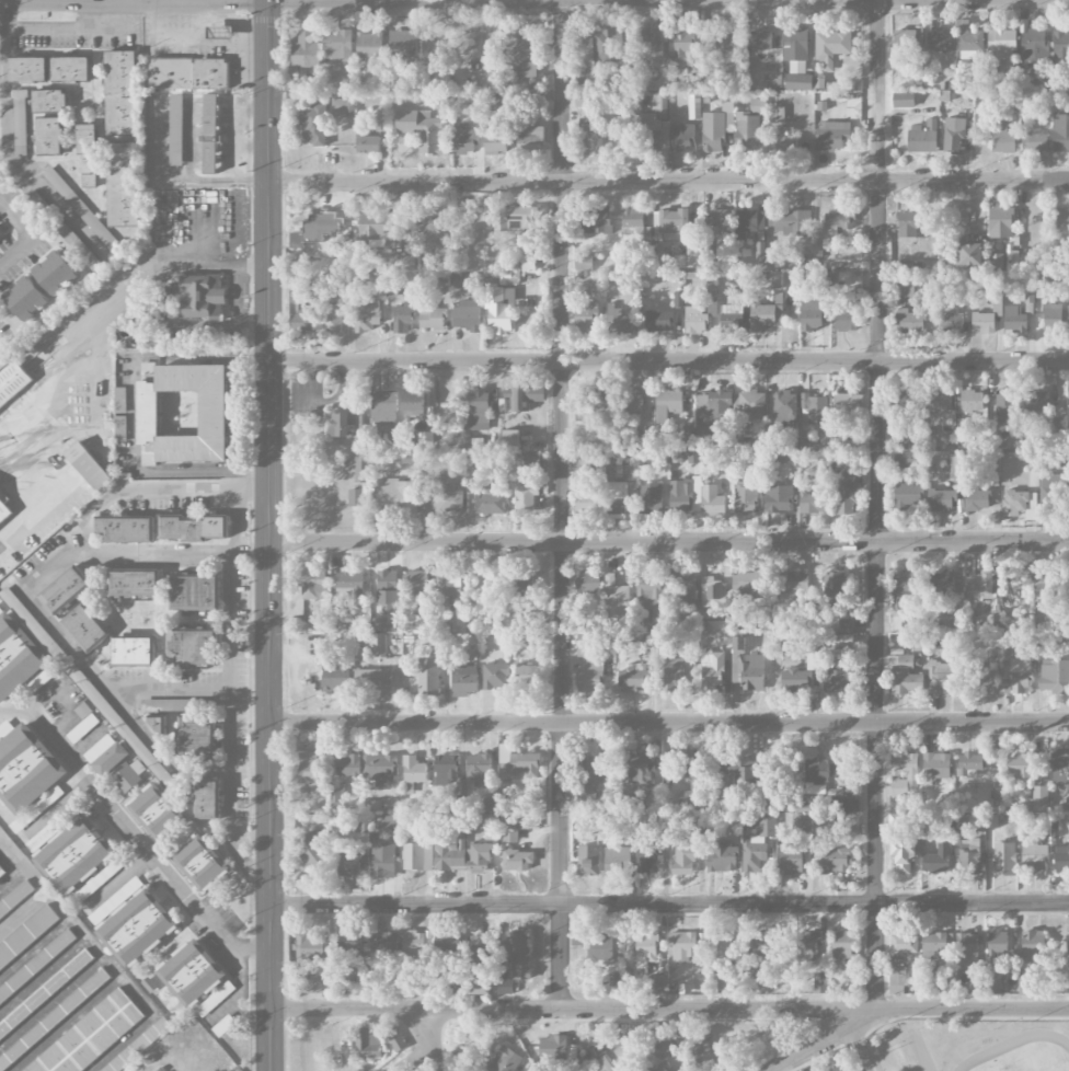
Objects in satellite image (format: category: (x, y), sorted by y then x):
road: (91, 1)
road: (533, 1)
road: (59, 27)
building: (220, 32)
building: (919, 36)
building: (905, 39)
road: (198, 41)
building: (760, 41)
building: (939, 41)
building: (795, 43)
building: (403, 44)
building: (725, 44)
building: (337, 45)
building: (651, 45)
building: (682, 45)
building: (969, 45)
building: (1034, 45)
building: (369, 46)
building: (606, 46)
building: (1001, 46)
building: (830, 47)
building: (1060, 47)
building: (306, 51)
building: (527, 60)
building: (899, 65)
building: (70, 70)
building: (27, 71)
building: (191, 73)
building: (584, 78)
building: (1011, 79)
building: (485, 81)
building: (772, 82)
building: (1041, 84)
building: (120, 93)
building: (584, 100)
building: (903, 100)
building: (49, 101)
building: (343, 104)
building: (693, 107)
building: (771, 114)
building: (20, 123)
building: (655, 125)
building: (313, 126)
building: (175, 128)
building: (422, 130)
building: (747, 131)
building: (713, 133)
building: (832, 133)
building: (209, 134)
building: (1060, 134)
building: (587, 135)
building: (954, 136)
road: (228, 137)
building: (923, 137)
building: (49, 138)
building: (681, 138)
building: (463, 139)
building: (1002, 139)
building: (87, 140)
building: (494, 140)
building: (530, 140)
building: (784, 141)
building: (1034, 141)
road: (248, 143)
building: (367, 143)
road: (8, 146)
building: (89, 181)
road: (668, 182)
building: (123, 184)
building: (79, 207)
building: (1061, 218)
building: (516, 219)
building: (721, 220)
building: (597, 222)
building: (748, 222)
building: (790, 222)
building: (1000, 222)
building: (376, 227)
building: (633, 227)
building: (836, 227)
building: (908, 227)
building: (315, 229)
road: (25, 231)
building: (969, 255)
building: (693, 257)
building: (403, 263)
building: (583, 263)
building: (54, 274)
building: (1045, 277)
building: (442, 285)
building: (709, 286)
building: (1068, 287)
building: (904, 288)
road: (231, 292)
building: (199, 296)
building: (25, 299)
building: (678, 300)
building: (712, 307)
building: (497, 310)
building: (301, 313)
building: (767, 314)
building: (811, 314)
building: (366, 315)
building: (1050, 315)
building: (430, 316)
building: (467, 316)
building: (333, 318)
building: (586, 318)
building: (846, 318)
building: (403, 319)
building: (731, 319)
building: (1014, 320)
building: (1068, 320)
building: (618, 321)
building: (696, 321)
building: (910, 321)
building: (658, 322)
building: (951, 323)
building: (982, 323)
road: (99, 338)
building: (152, 338)
road: (667, 360)
building: (13, 383)
building: (524, 398)
building: (119, 400)
building: (631, 400)
building: (1036, 401)
building: (595, 402)
building: (972, 402)
building: (752, 403)
building: (939, 403)
building: (668, 404)
building: (905, 404)
building: (1068, 404)
building: (414, 405)
building: (784, 407)
building: (815, 410)
building: (1005, 410)
building: (383, 411)
building: (479, 411)
building: (711, 412)
building: (182, 413)
road: (133, 414)
road: (235, 414)
building: (344, 424)
building: (1057, 425)
building: (119, 429)
building: (510, 438)
building: (642, 439)
building: (399, 440)
building: (912, 441)
building: (905, 460)
building: (1035, 460)
building: (993, 461)
building: (590, 462)
building: (531, 464)
building: (89, 468)
building: (358, 468)
building: (956, 469)
building: (624, 472)
building: (1051, 491)
building: (846, 494)
building: (907, 495)
building: (396, 496)
building: (685, 496)
road: (41, 497)
building: (355, 498)
building: (525, 498)
building: (618, 498)
building: (745, 498)
building: (491, 499)
building: (650, 499)
building: (779, 499)
building: (585, 500)
building: (712, 500)
building: (942, 500)
building: (977, 500)
building: (445, 502)
road: (561, 505)
road: (877, 505)
building: (1020, 505)
building: (3, 513)
building: (126, 528)
building: (194, 529)
road: (267, 535)
road: (667, 542)
road: (146, 557)
building: (587, 583)
building: (1048, 583)
building: (135, 584)
building: (417, 584)
building: (521, 584)
building: (795, 585)
building: (941, 585)
building: (313, 586)
building: (349, 586)
building: (388, 587)
building: (749, 587)
building: (905, 587)
building: (447, 588)
building: (685, 588)
building: (977, 590)
building: (66, 591)
building: (834, 591)
building: (712, 592)
building: (195, 594)
building: (616, 594)
building: (653, 598)
road: (33, 602)
building: (335, 611)
building: (528, 620)
building: (954, 621)
building: (379, 623)
building: (457, 623)
building: (992, 624)
building: (846, 625)
building: (85, 629)
building: (717, 629)
building: (842, 641)
building: (376, 645)
building: (738, 645)
building: (192, 647)
building: (134, 650)
building: (473, 653)
building: (812, 653)
building: (20, 660)
building: (588, 666)
building: (712, 671)
building: (749, 672)
road: (229, 673)
building: (1018, 675)
building: (427, 676)
building: (671, 676)
building: (906, 676)
building: (1054, 676)
building: (495, 677)
building: (839, 677)
building: (335, 678)
building: (526, 678)
building: (632, 678)
building: (942, 678)
building: (372, 680)
building: (795, 680)
building: (981, 680)
building: (463, 681)
road: (166, 689)
building: (117, 723)
road: (668, 723)
building: (158, 724)
building: (197, 740)
building: (99, 749)
building: (111, 759)
building: (517, 764)
building: (969, 764)
building: (1019, 765)
building: (1059, 765)
building: (348, 767)
building: (936, 767)
building: (379, 768)
building: (637, 768)
building: (308, 769)
building: (446, 770)
building: (479, 770)
building: (738, 770)
building: (26, 773)
building: (413, 773)
building: (589, 773)
building: (903, 773)
building: (128, 774)
building: (818, 775)
building: (691, 784)
building: (1038, 797)
building: (207, 799)
building: (849, 806)
road: (115, 809)
building: (153, 810)
building: (898, 820)
building: (389, 821)
building: (530, 821)
building: (358, 825)
building: (509, 838)
building: (757, 844)
building: (318, 847)
building: (450, 847)
building: (73, 854)
building: (417, 855)
building: (646, 855)
building: (903, 855)
building: (1034, 856)
building: (683, 857)
building: (1060, 857)
building: (383, 859)
building: (723, 859)
building: (482, 860)
building: (938, 860)
building: (1004, 860)
building: (199, 861)
building: (517, 861)
building: (588, 861)
building: (616, 861)
building: (791, 861)
building: (835, 862)
building: (968, 863)
building: (349, 865)
road: (16, 866)
building: (2, 873)
building: (16, 900)
road: (668, 906)
building: (133, 922)
building: (27, 936)
building: (1068, 941)
building: (1033, 942)
building: (350, 944)
building: (766, 944)
building: (809, 944)
building: (904, 944)
building: (383, 945)
building: (417, 945)
building: (448, 945)
building: (936, 945)
building: (682, 946)
building: (843, 946)
building: (597, 947)
building: (997, 947)
building: (310, 948)
building: (646, 948)
road: (245, 949)
building: (967, 949)
building: (480, 951)
building: (518, 953)
building: (1067, 958)
building: (36, 965)
building: (191, 972)
building: (898, 981)
building: (942, 982)
building: (820, 983)
building: (478, 984)
building: (504, 984)
building: (655, 984)
building: (977, 986)
building: (993, 986)
building: (1025, 986)
building: (318, 987)
building: (46, 992)
building: (215, 999)
road: (668, 1010)
building: (54, 1017)
building: (91, 1036)
road: (828, 1040)
building: (396, 1041)
road: (427, 1041)
building: (369, 1043)
building: (662, 1046)
building: (698, 1046)
building: (140, 1047)
road: (857, 1050)
building: (552, 1052)
road: (415, 1060)
building: (505, 1060)
building: (659, 1067)
building: (843, 1070)

